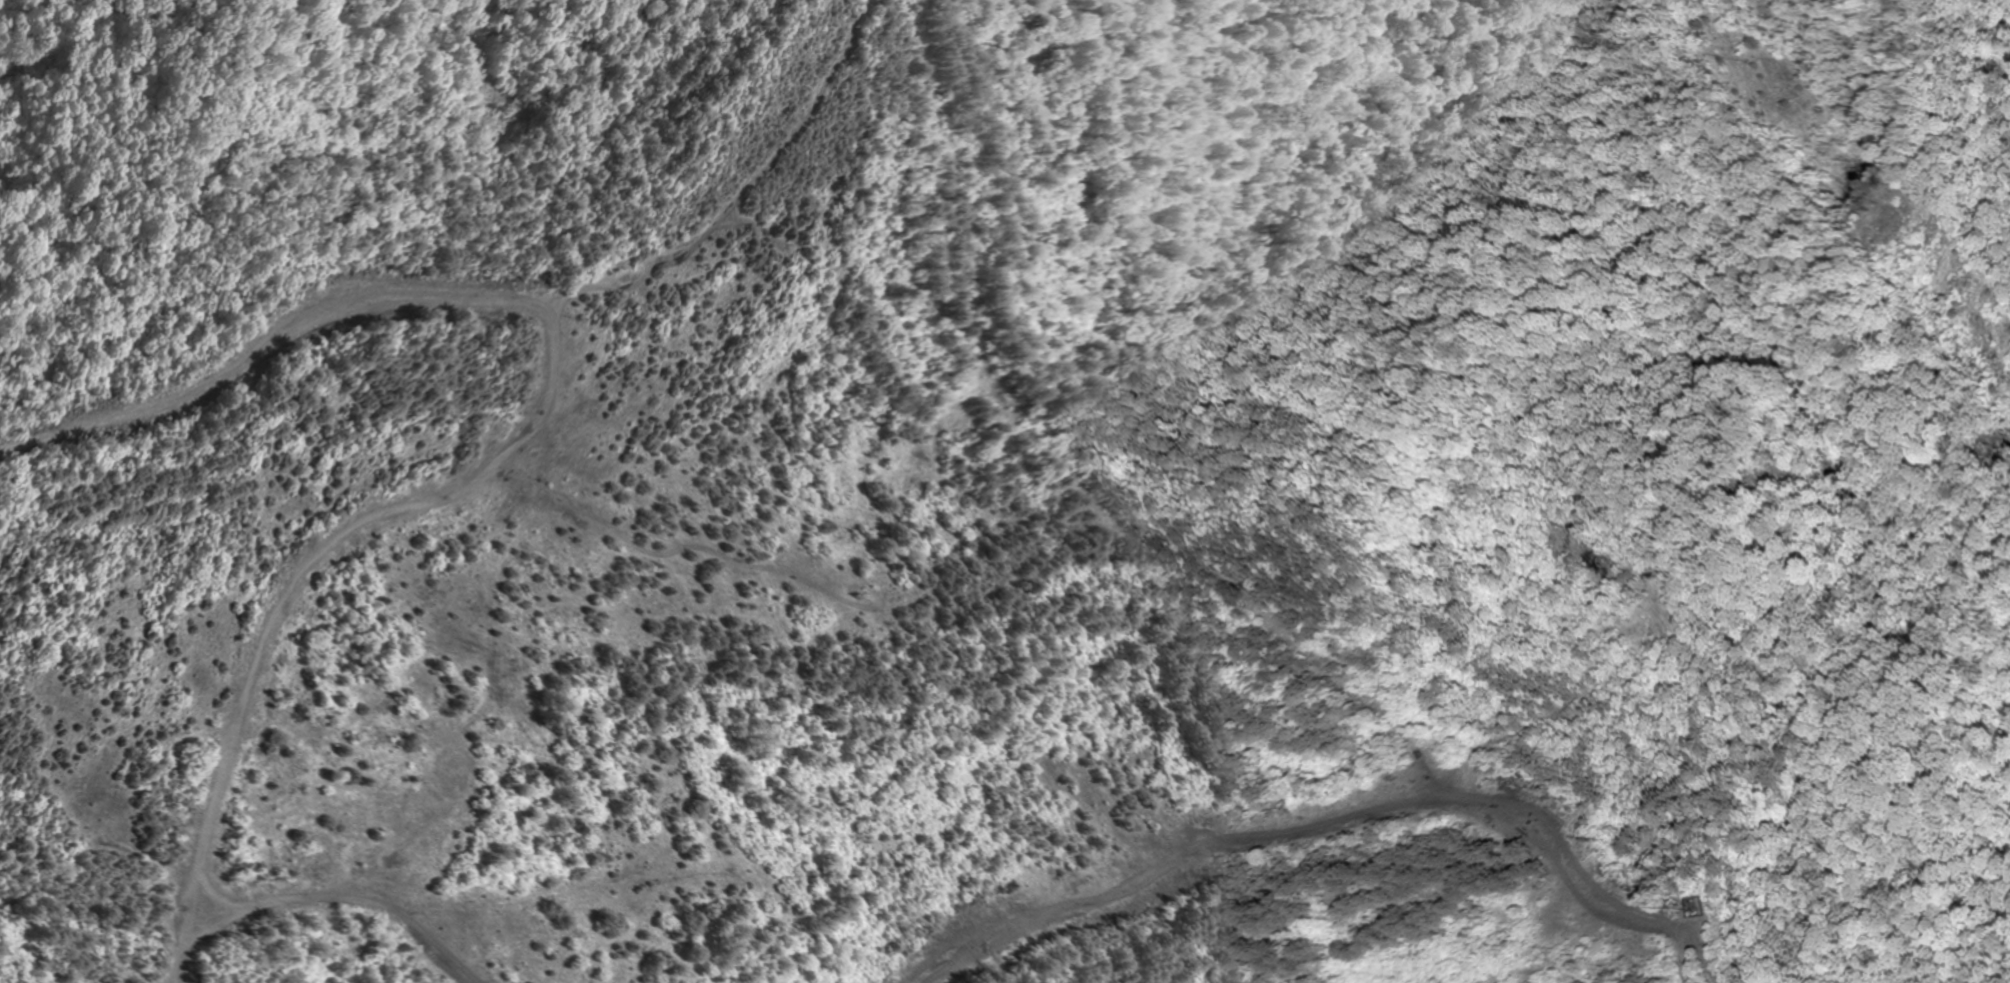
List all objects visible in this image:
road: (1914, 657)

